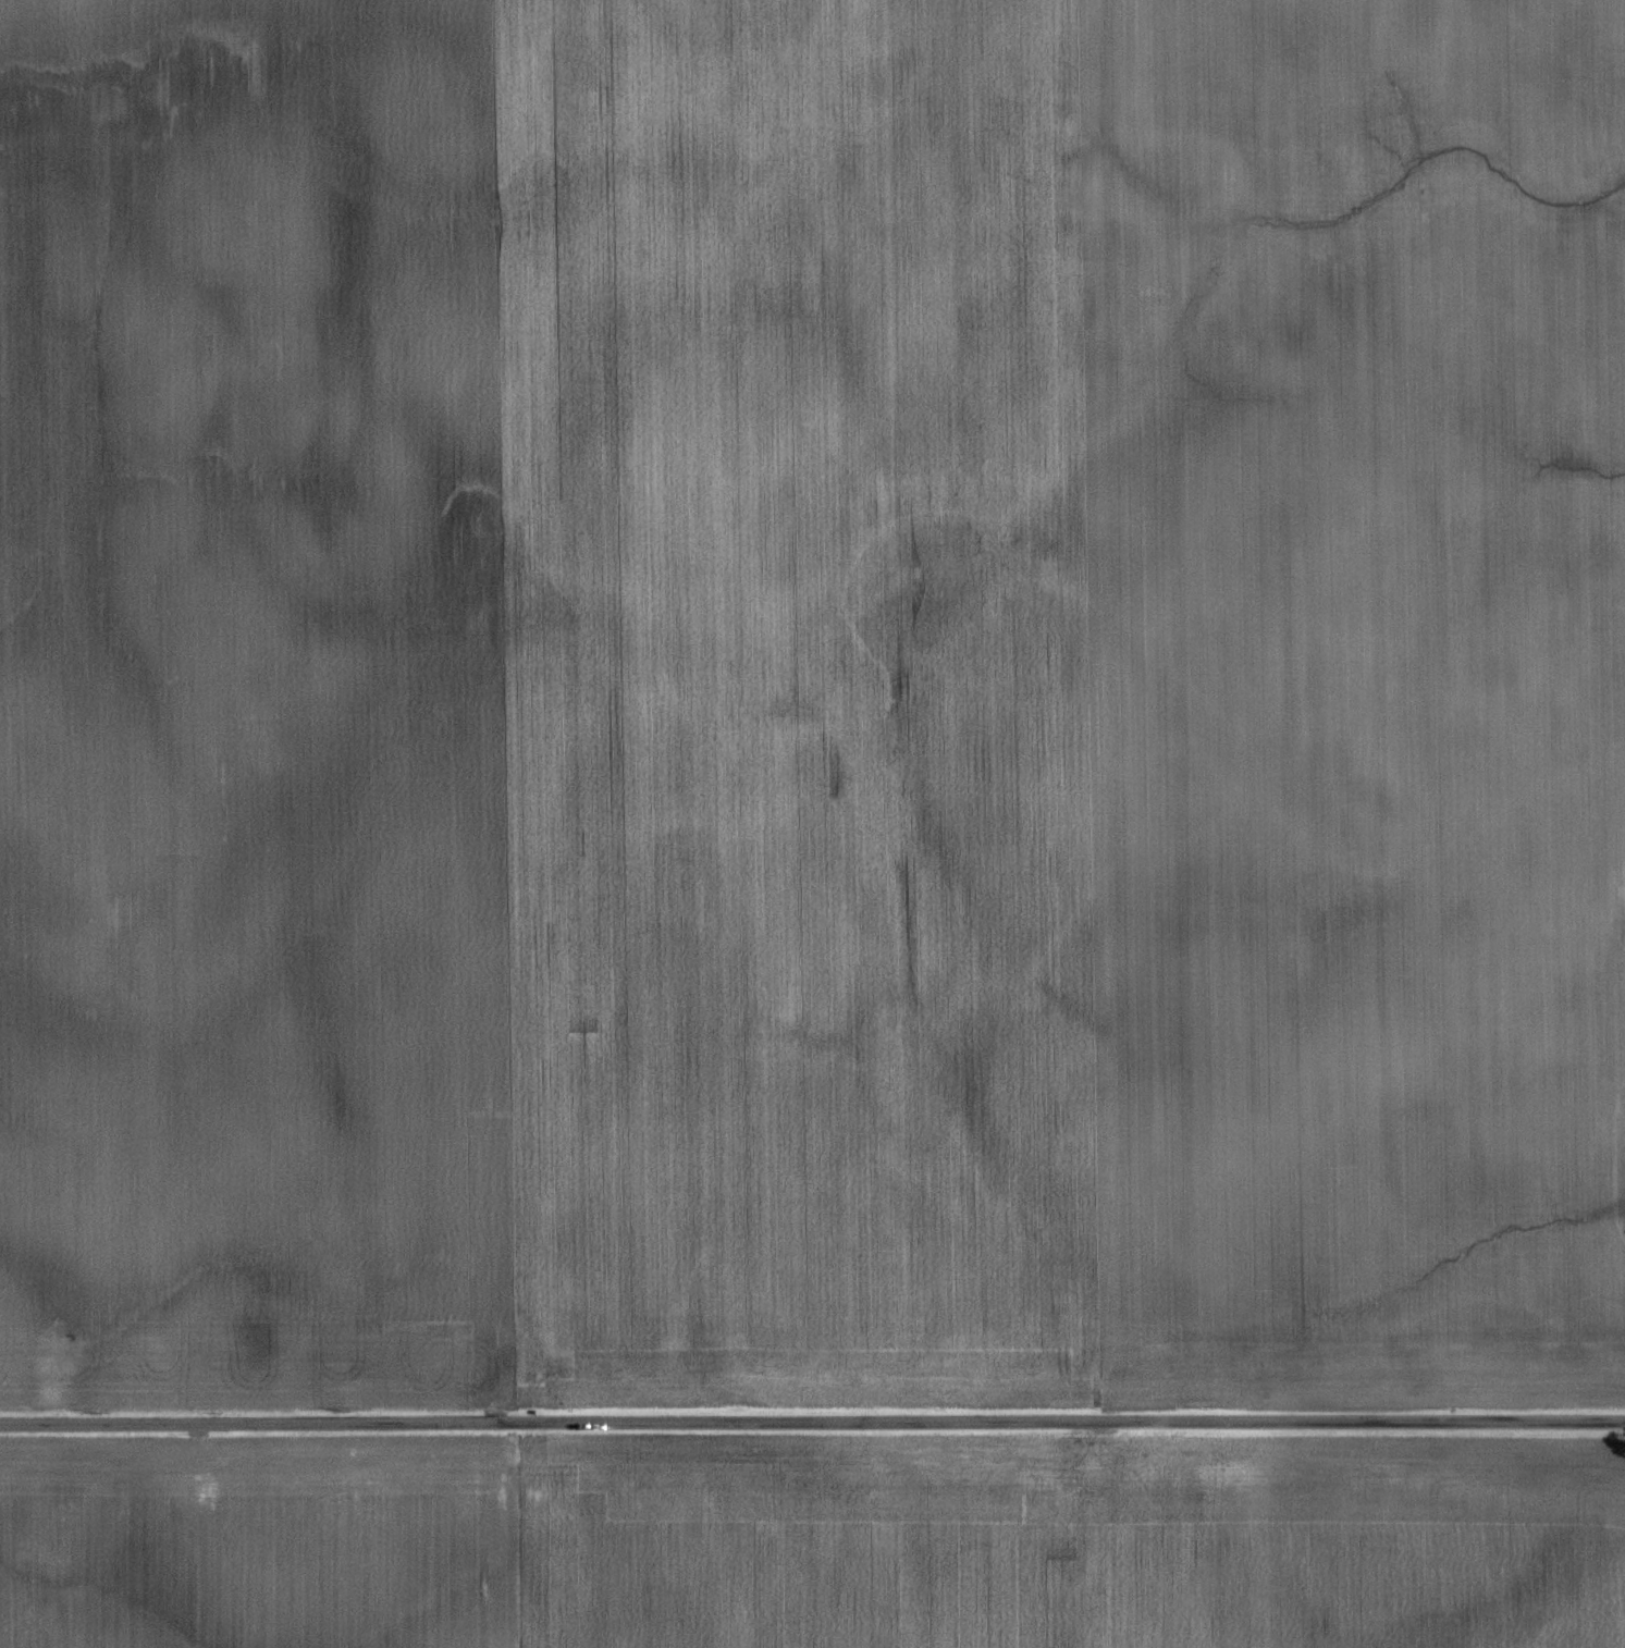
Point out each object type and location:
crop: (1062, 709)
crop: (249, 715)
road: (812, 1421)
crop: (1076, 1534)
crop: (255, 1535)

